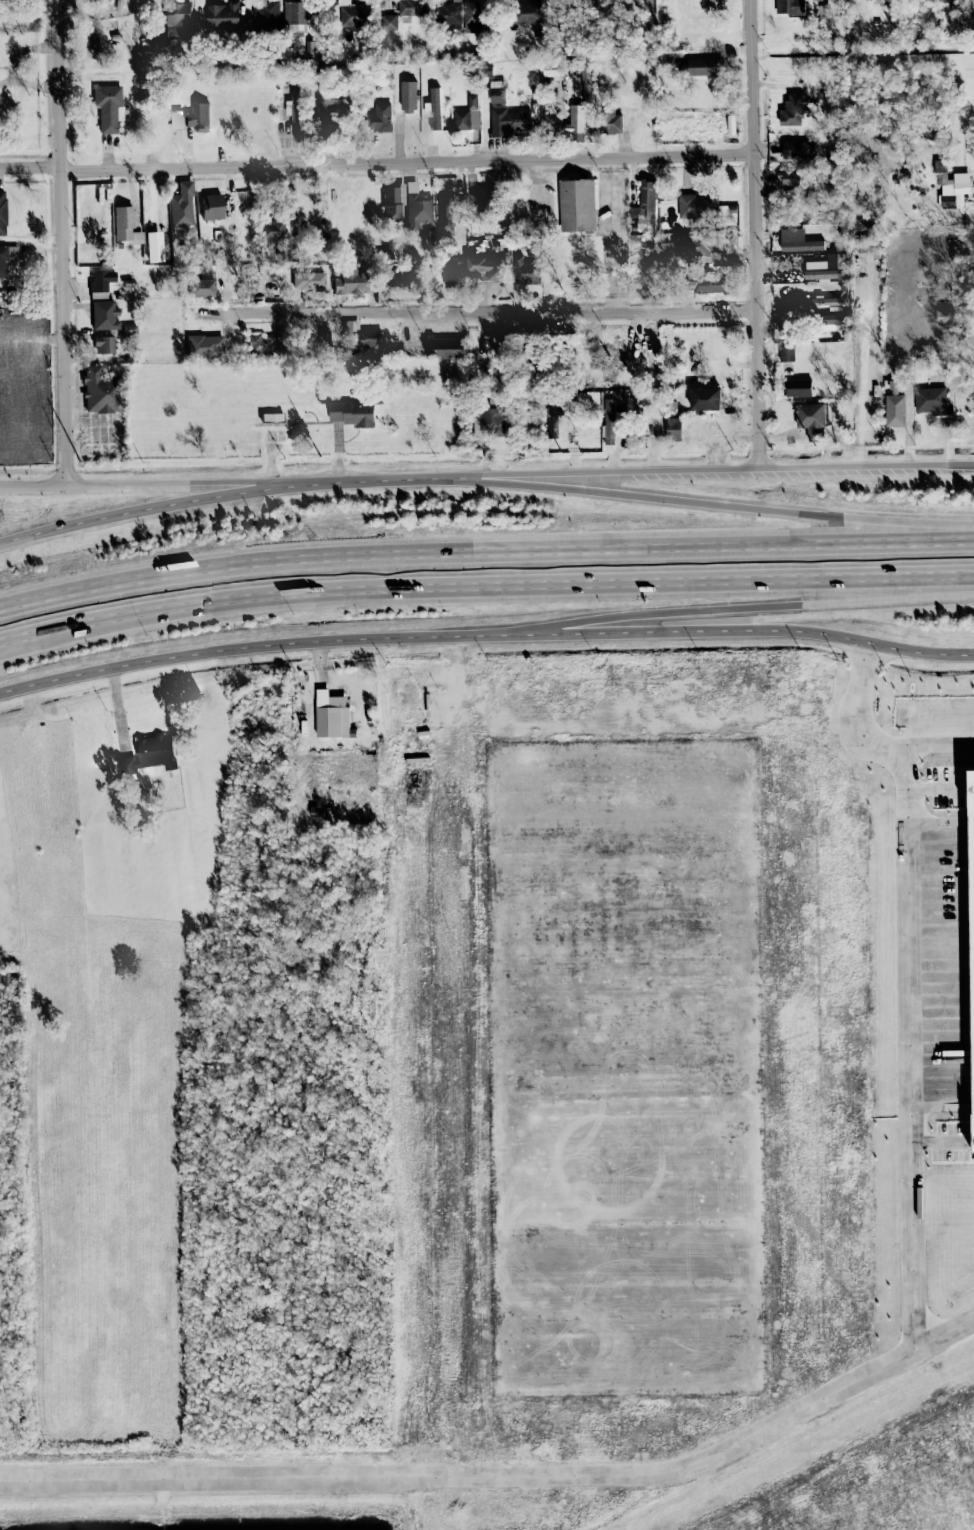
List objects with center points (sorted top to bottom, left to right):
building: (942, 0)
building: (411, 7)
building: (789, 7)
building: (265, 13)
building: (527, 13)
building: (353, 14)
building: (449, 14)
building: (222, 15)
building: (296, 16)
building: (389, 22)
building: (176, 24)
building: (702, 67)
building: (497, 92)
building: (408, 97)
building: (329, 102)
building: (108, 106)
building: (434, 108)
building: (296, 110)
building: (792, 110)
building: (467, 115)
building: (198, 117)
building: (378, 118)
building: (176, 119)
building: (576, 119)
building: (507, 121)
building: (609, 122)
building: (797, 150)
road: (376, 162)
building: (788, 178)
building: (950, 188)
building: (485, 195)
building: (391, 203)
building: (181, 205)
building: (576, 205)
building: (697, 205)
building: (211, 206)
building: (416, 206)
building: (645, 206)
building: (2, 212)
building: (445, 213)
building: (124, 225)
building: (272, 231)
building: (289, 231)
road: (755, 233)
building: (797, 241)
road: (61, 242)
building: (694, 248)
building: (2, 259)
building: (825, 266)
building: (484, 269)
building: (525, 271)
building: (454, 278)
building: (396, 279)
building: (100, 280)
building: (309, 280)
building: (350, 280)
building: (707, 283)
building: (202, 286)
road: (481, 312)
building: (104, 314)
building: (832, 320)
building: (362, 336)
building: (315, 343)
building: (103, 344)
building: (262, 344)
building: (204, 345)
building: (445, 348)
building: (786, 353)
building: (798, 387)
building: (99, 390)
building: (705, 399)
building: (931, 400)
building: (894, 410)
building: (352, 413)
building: (810, 419)
building: (551, 421)
building: (610, 421)
building: (489, 423)
building: (673, 429)
road: (939, 465)
road: (972, 465)
road: (674, 470)
road: (409, 478)
road: (282, 482)
road: (409, 482)
road: (159, 484)
road: (33, 486)
road: (186, 500)
road: (707, 505)
road: (485, 557)
road: (484, 589)
road: (711, 611)
road: (712, 631)
road: (20, 644)
road: (222, 650)
road: (320, 658)
road: (117, 706)
building: (328, 716)
road: (937, 744)
building: (149, 751)
building: (315, 811)
building: (972, 855)
road: (944, 1335)
road: (823, 1398)

